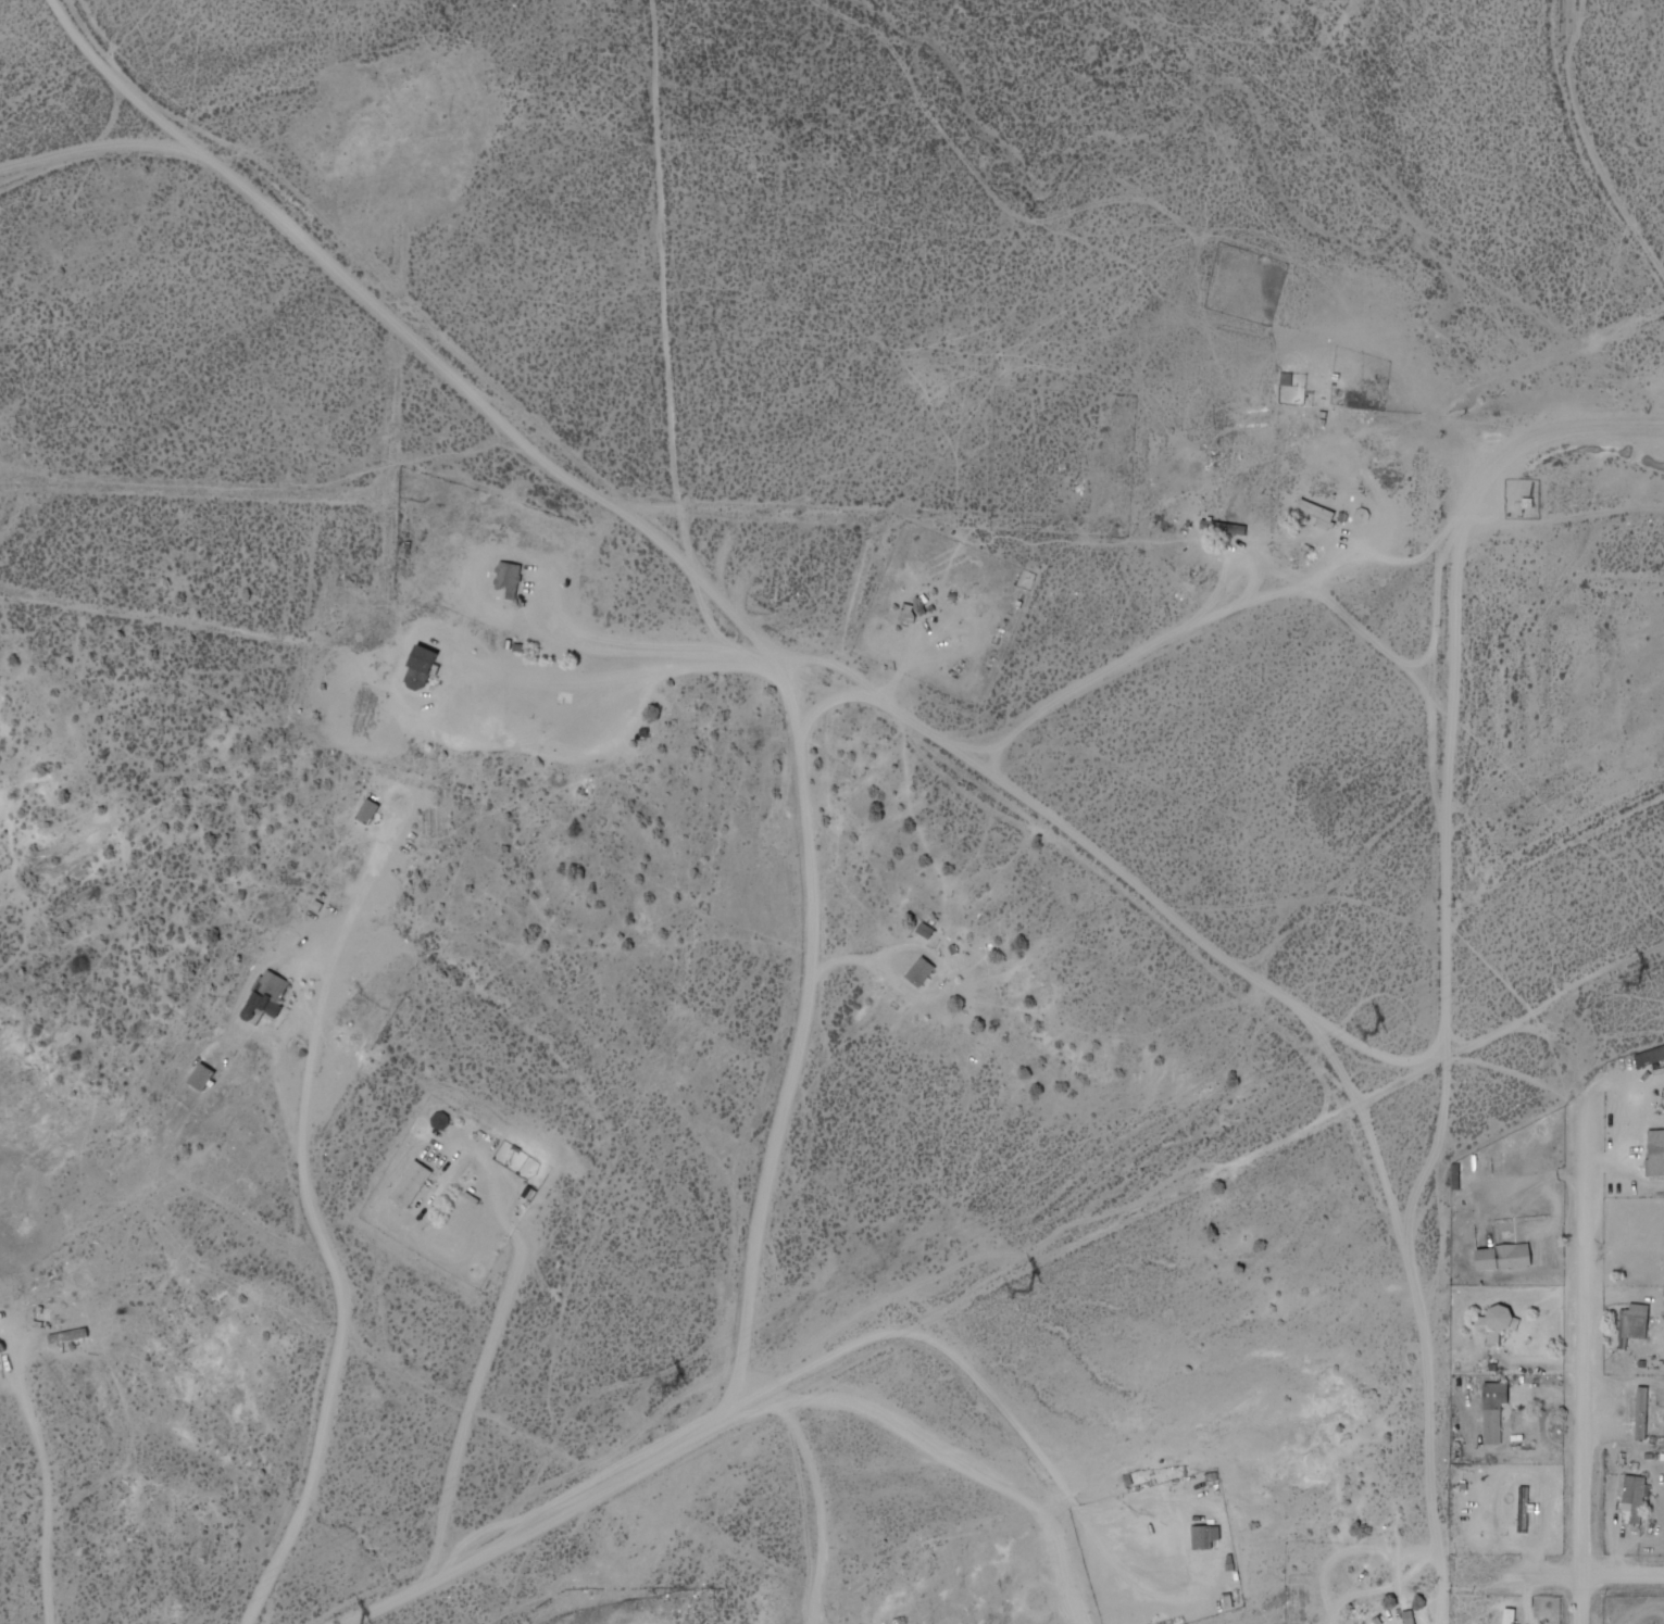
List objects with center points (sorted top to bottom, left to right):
road: (66, 2)
road: (1580, 148)
road: (2, 214)
road: (320, 231)
road: (1175, 401)
road: (1530, 451)
road: (636, 500)
building: (505, 581)
building: (904, 617)
road: (891, 717)
building: (366, 810)
road: (1452, 816)
building: (918, 970)
power tower: (1638, 981)
building: (266, 992)
power tower: (1371, 1030)
road: (1371, 1050)
building: (1650, 1055)
building: (200, 1075)
building: (1655, 1151)
building: (409, 1184)
road: (1425, 1193)
building: (1502, 1256)
road: (1002, 1280)
power tower: (1021, 1289)
building: (1497, 1320)
building: (1632, 1324)
road: (1446, 1344)
road: (1589, 1371)
power tower: (673, 1384)
building: (1492, 1410)
road: (7, 1414)
road: (1521, 1476)
building: (1632, 1497)
road: (820, 1499)
building: (1513, 1510)
building: (1203, 1536)
road: (28, 1560)
road: (1586, 1578)

